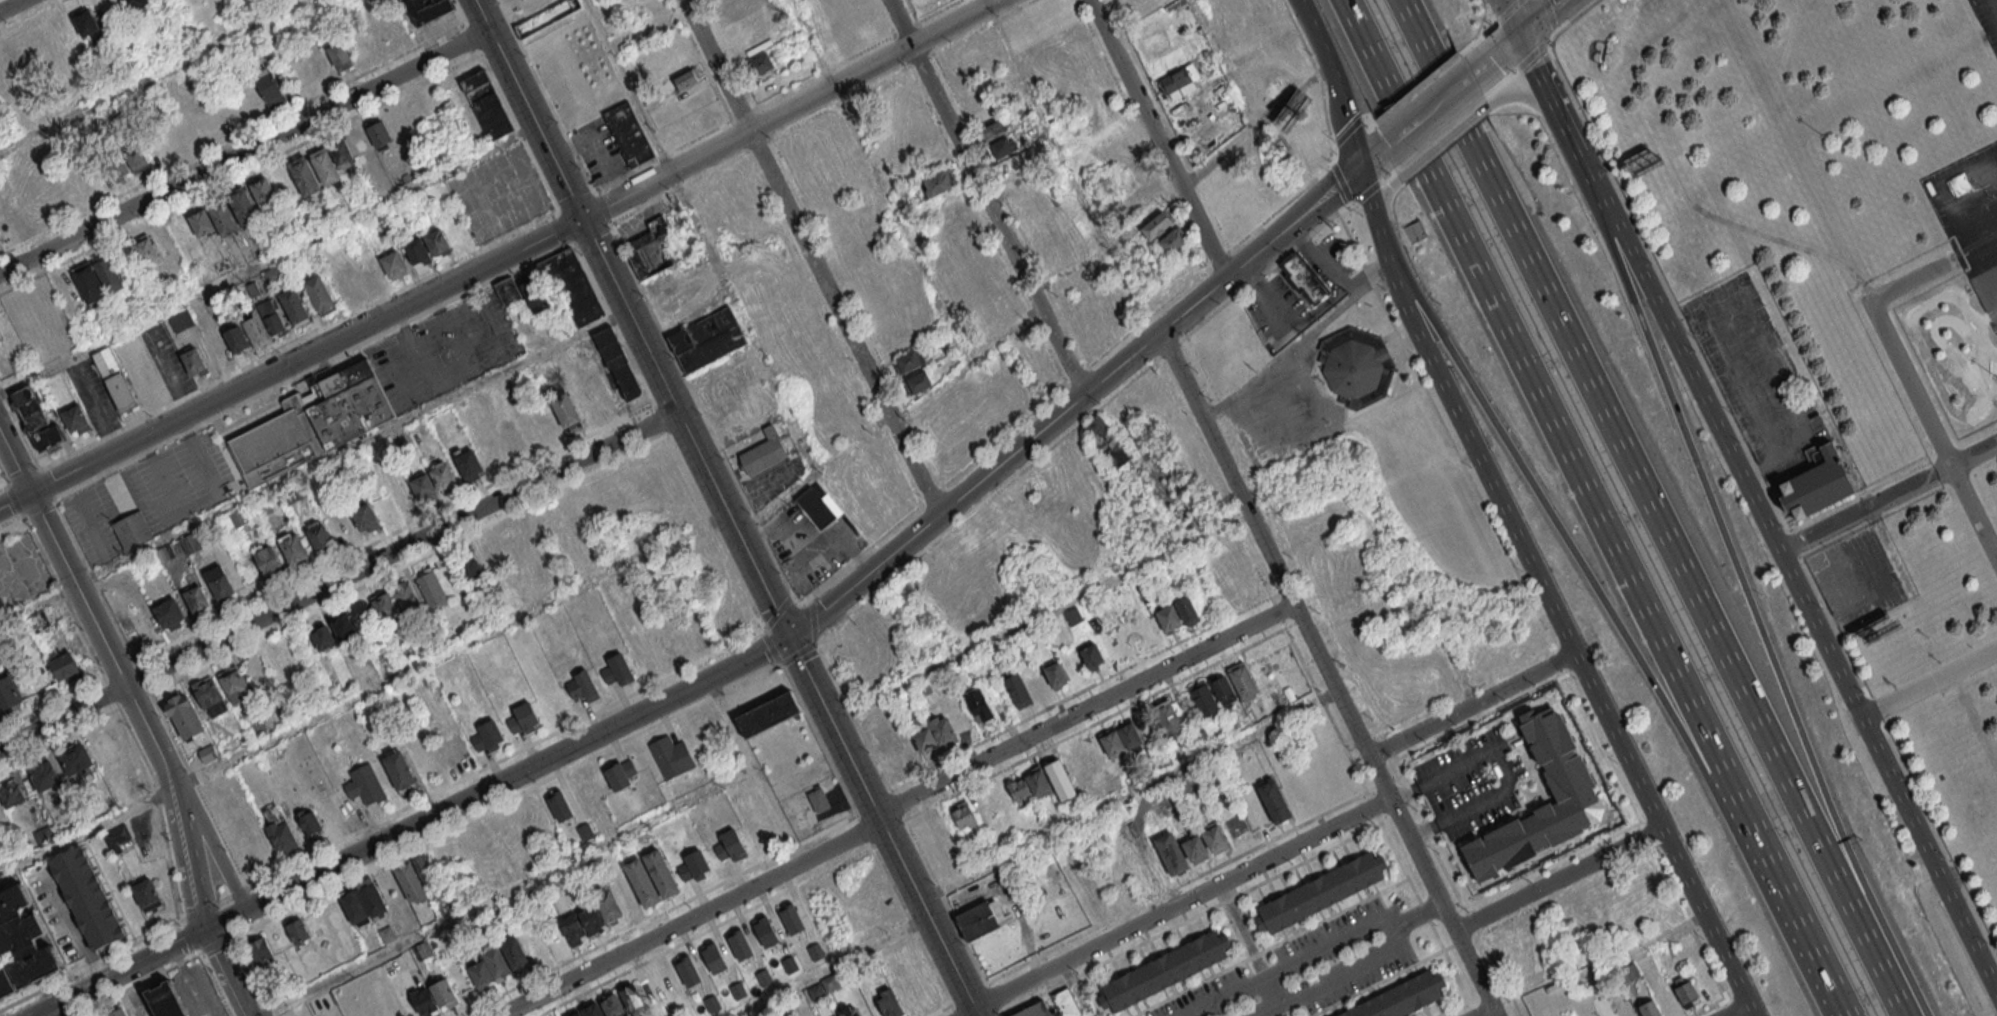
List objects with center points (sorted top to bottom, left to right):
building: (720, 0)
building: (132, 4)
road: (12, 6)
crop: (524, 6)
road: (1992, 8)
building: (426, 9)
road: (936, 11)
building: (545, 16)
road: (1514, 20)
road: (1548, 20)
building: (85, 22)
parking lot: (1986, 22)
road: (903, 27)
traffic signals: (1524, 41)
building: (751, 43)
building: (340, 55)
road: (1499, 61)
building: (761, 63)
building: (321, 64)
road: (1224, 64)
road: (823, 69)
road: (1539, 76)
road: (154, 77)
building: (687, 78)
building: (1179, 80)
road: (1335, 84)
building: (269, 86)
road: (1517, 92)
road: (1449, 101)
building: (486, 104)
road: (788, 108)
road: (526, 109)
road: (742, 112)
building: (208, 116)
road: (1045, 126)
building: (992, 130)
building: (379, 133)
building: (628, 133)
road: (1407, 135)
building: (172, 136)
road: (1159, 138)
road: (1442, 140)
building: (919, 145)
building: (1000, 147)
building: (340, 151)
road: (244, 152)
road: (661, 154)
building: (136, 159)
road: (1374, 161)
building: (119, 168)
building: (326, 168)
traffic signals: (1359, 174)
building: (304, 175)
building: (938, 181)
road: (878, 182)
road: (681, 184)
road: (1185, 184)
building: (57, 189)
building: (263, 192)
building: (1141, 193)
road: (989, 196)
road: (574, 199)
road: (1383, 199)
road: (1951, 201)
road: (1370, 203)
building: (242, 205)
road: (600, 207)
building: (222, 217)
building: (6, 218)
parking lot: (1972, 221)
building: (202, 223)
road: (563, 225)
building: (1157, 225)
road: (589, 233)
road: (700, 236)
building: (1172, 240)
building: (436, 241)
building: (652, 247)
road: (1965, 249)
building: (146, 250)
building: (416, 250)
road: (810, 257)
road: (268, 261)
road: (1316, 261)
building: (394, 264)
road: (1265, 271)
building: (108, 274)
building: (272, 274)
road: (1914, 276)
building: (1304, 280)
building: (89, 284)
building: (348, 284)
building: (253, 288)
building: (507, 290)
building: (318, 293)
building: (537, 298)
building: (294, 306)
building: (271, 317)
building: (179, 321)
road: (1309, 321)
road: (612, 323)
building: (256, 330)
road: (297, 339)
building: (709, 339)
road: (1302, 342)
road: (1169, 350)
building: (218, 353)
building: (908, 361)
building: (193, 362)
road: (290, 362)
building: (617, 364)
road: (969, 364)
road: (311, 368)
road: (1773, 369)
building: (1352, 370)
building: (115, 378)
building: (918, 381)
building: (143, 382)
building: (1005, 398)
road: (1072, 404)
building: (348, 405)
building: (29, 407)
road: (700, 409)
building: (564, 410)
building: (75, 419)
road: (659, 419)
building: (529, 426)
road: (683, 427)
road: (1559, 427)
road: (1933, 431)
building: (47, 435)
building: (510, 439)
building: (1106, 442)
building: (278, 444)
building: (765, 453)
building: (469, 464)
road: (313, 468)
road: (813, 475)
road: (22, 476)
building: (645, 476)
building: (442, 477)
road: (3, 478)
road: (45, 483)
building: (1816, 483)
road: (3, 486)
building: (422, 486)
building: (403, 497)
road: (1887, 497)
road: (13, 499)
road: (986, 499)
road: (38, 506)
building: (264, 506)
building: (819, 507)
road: (1651, 507)
building: (238, 517)
building: (364, 518)
road: (11, 519)
building: (552, 524)
building: (132, 530)
road: (714, 531)
building: (319, 536)
building: (190, 543)
building: (507, 545)
road: (1570, 548)
building: (293, 549)
road: (1778, 552)
building: (164, 553)
building: (486, 555)
road: (855, 558)
building: (267, 561)
road: (1732, 561)
building: (467, 565)
road: (337, 579)
building: (219, 582)
road: (95, 583)
road: (1417, 583)
building: (431, 590)
building: (405, 596)
building: (196, 598)
road: (64, 599)
road: (85, 602)
building: (382, 605)
building: (1186, 610)
road: (777, 611)
building: (169, 613)
building: (1072, 615)
road: (1039, 617)
building: (1167, 618)
road: (812, 620)
building: (39, 621)
road: (1562, 626)
building: (343, 627)
traffic signals: (787, 636)
building: (323, 637)
building: (677, 639)
road: (771, 646)
road: (451, 649)
building: (661, 650)
road: (796, 652)
building: (1091, 655)
building: (280, 658)
building: (63, 665)
building: (616, 669)
building: (1054, 673)
road: (1330, 674)
road: (143, 679)
building: (1243, 680)
road: (1928, 683)
building: (233, 684)
building: (1035, 684)
building: (582, 686)
building: (1015, 689)
building: (1223, 690)
road: (112, 694)
building: (10, 696)
building: (209, 697)
building: (1203, 698)
road: (1473, 703)
road: (52, 704)
building: (979, 706)
building: (768, 713)
building: (184, 715)
building: (523, 717)
road: (853, 717)
building: (1168, 718)
building: (941, 729)
building: (487, 735)
building: (1129, 736)
building: (924, 739)
road: (60, 740)
building: (1111, 742)
building: (454, 750)
building: (207, 753)
building: (671, 756)
road: (504, 757)
building: (75, 760)
building: (1559, 761)
road: (1500, 768)
road: (753, 769)
building: (401, 770)
building: (44, 774)
building: (620, 774)
building: (1060, 780)
building: (1037, 782)
building: (365, 785)
road: (197, 787)
building: (587, 791)
building: (1020, 791)
building: (11, 792)
road: (1129, 797)
building: (819, 799)
road: (505, 801)
building: (1273, 801)
road: (163, 806)
building: (560, 806)
road: (893, 806)
road: (898, 806)
building: (538, 813)
building: (963, 816)
building: (74, 820)
building: (311, 825)
road: (410, 826)
road: (881, 826)
building: (278, 828)
road: (86, 831)
building: (585, 831)
building: (44, 834)
building: (480, 836)
building: (116, 837)
building: (1214, 838)
road: (209, 841)
building: (731, 845)
building: (1195, 847)
road: (185, 852)
building: (1170, 854)
building: (694, 866)
building: (424, 867)
building: (661, 873)
road: (1557, 878)
building: (642, 882)
building: (410, 883)
road: (507, 891)
building: (625, 894)
building: (146, 895)
building: (1321, 896)
building: (372, 899)
building: (88, 901)
road: (947, 903)
road: (214, 904)
building: (607, 905)
road: (1180, 905)
building: (354, 907)
road: (1419, 912)
building: (591, 919)
building: (792, 919)
building: (979, 925)
building: (572, 929)
building: (297, 930)
building: (765, 933)
building: (387, 934)
road: (1809, 935)
building: (25, 941)
building: (533, 942)
road: (1644, 943)
road: (215, 944)
building: (739, 944)
building: (422, 949)
road: (1575, 950)
building: (258, 951)
building: (514, 953)
building: (712, 958)
building: (495, 961)
road: (1289, 961)
road: (90, 965)
road: (829, 967)
parking lot: (1310, 967)
building: (686, 971)
road: (224, 972)
building: (480, 973)
building: (1166, 974)
road: (1346, 975)
road: (137, 984)
building: (7, 985)
road: (1076, 990)
building: (1687, 991)
building: (444, 993)
building: (631, 997)
building: (1406, 999)
building: (165, 1000)
road: (996, 1000)
building: (424, 1001)
building: (888, 1002)
building: (712, 1004)
building: (612, 1005)
building: (1052, 1005)
building: (1649, 1008)
building: (592, 1010)
road: (1924, 1010)
building: (115, 1011)
road: (1736, 1011)
building: (850, 1012)
road: (1487, 1012)
building: (577, 1014)
road: (1002, 1015)

